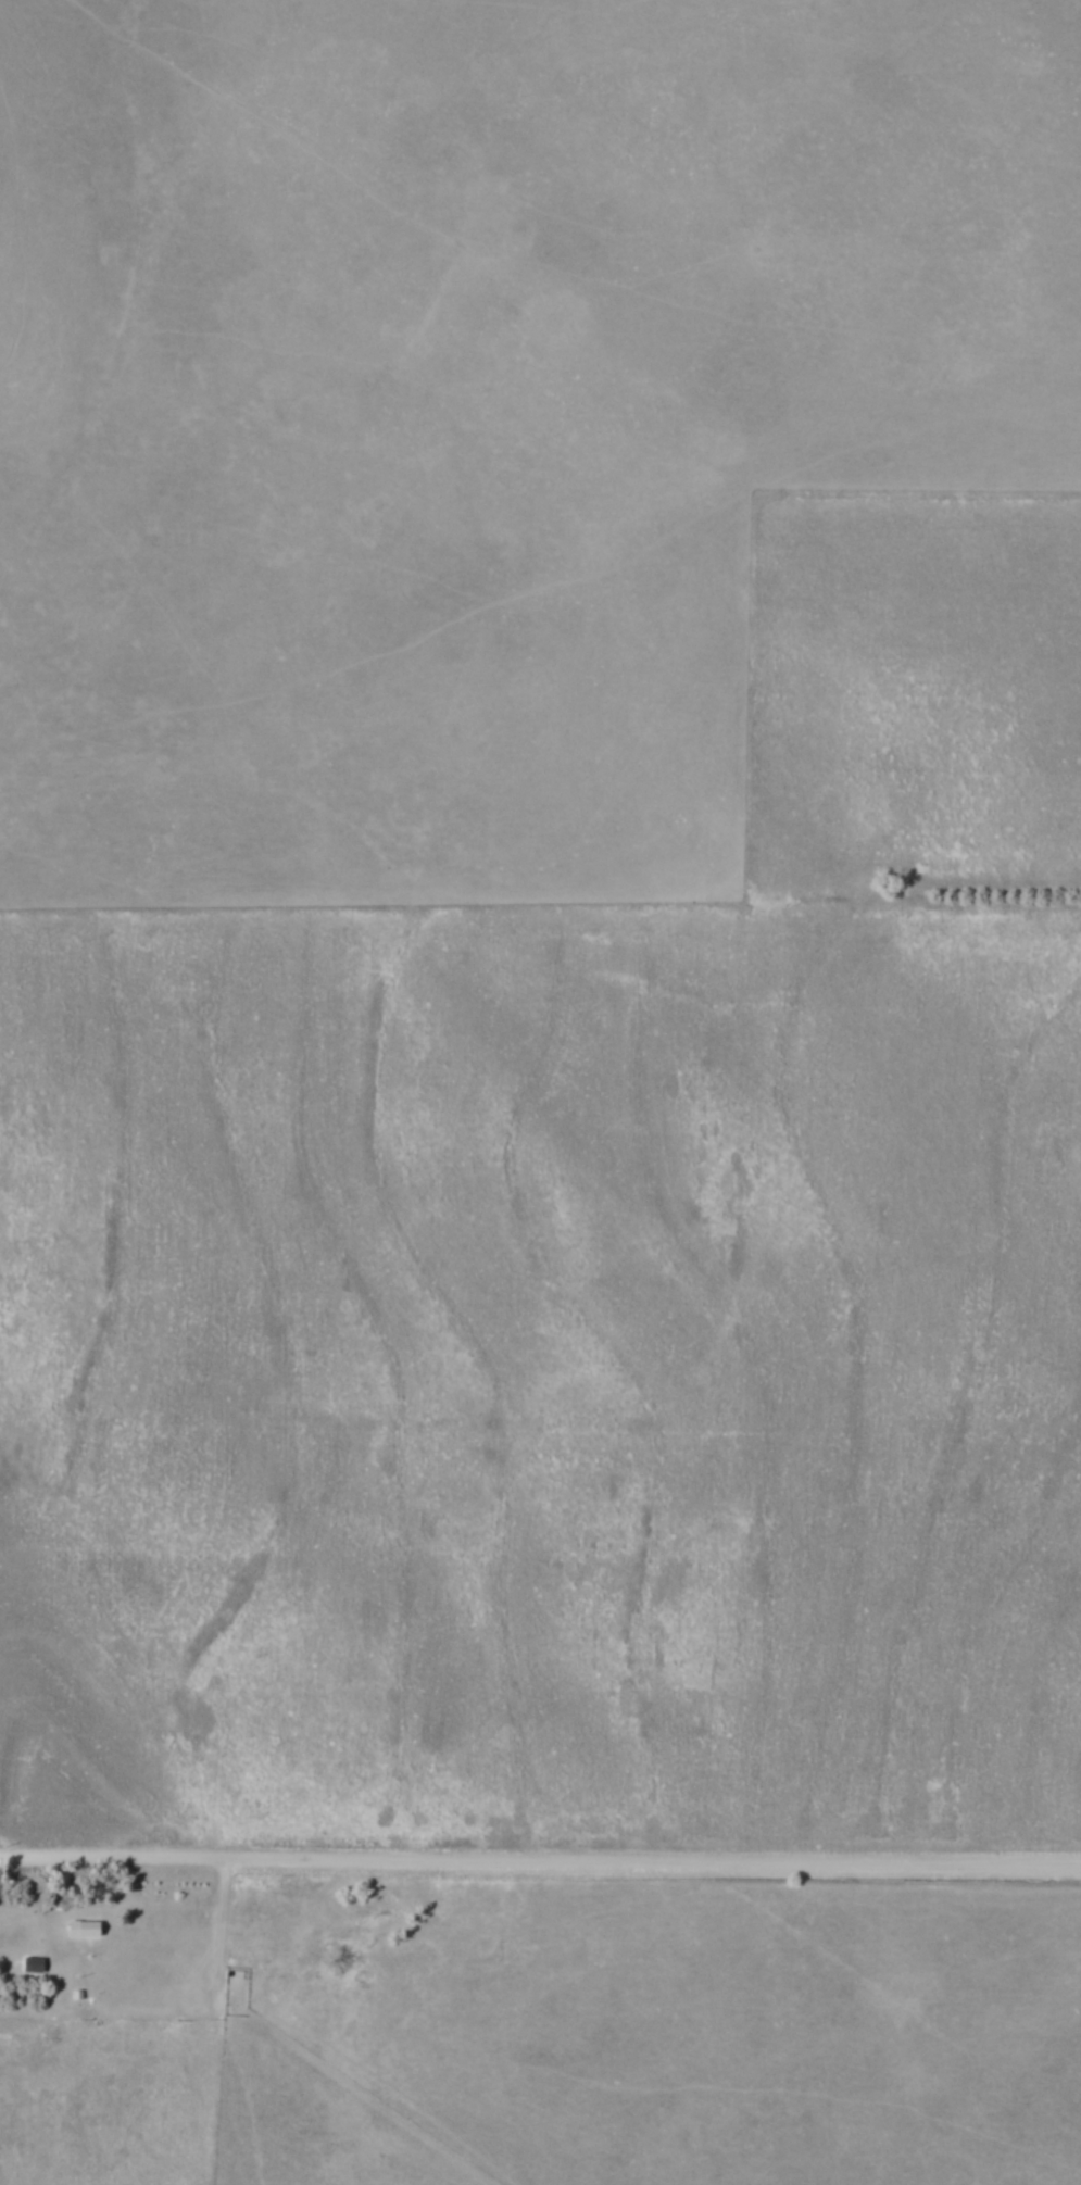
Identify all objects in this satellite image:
road: (540, 1866)
building: (84, 1929)
building: (23, 1970)

